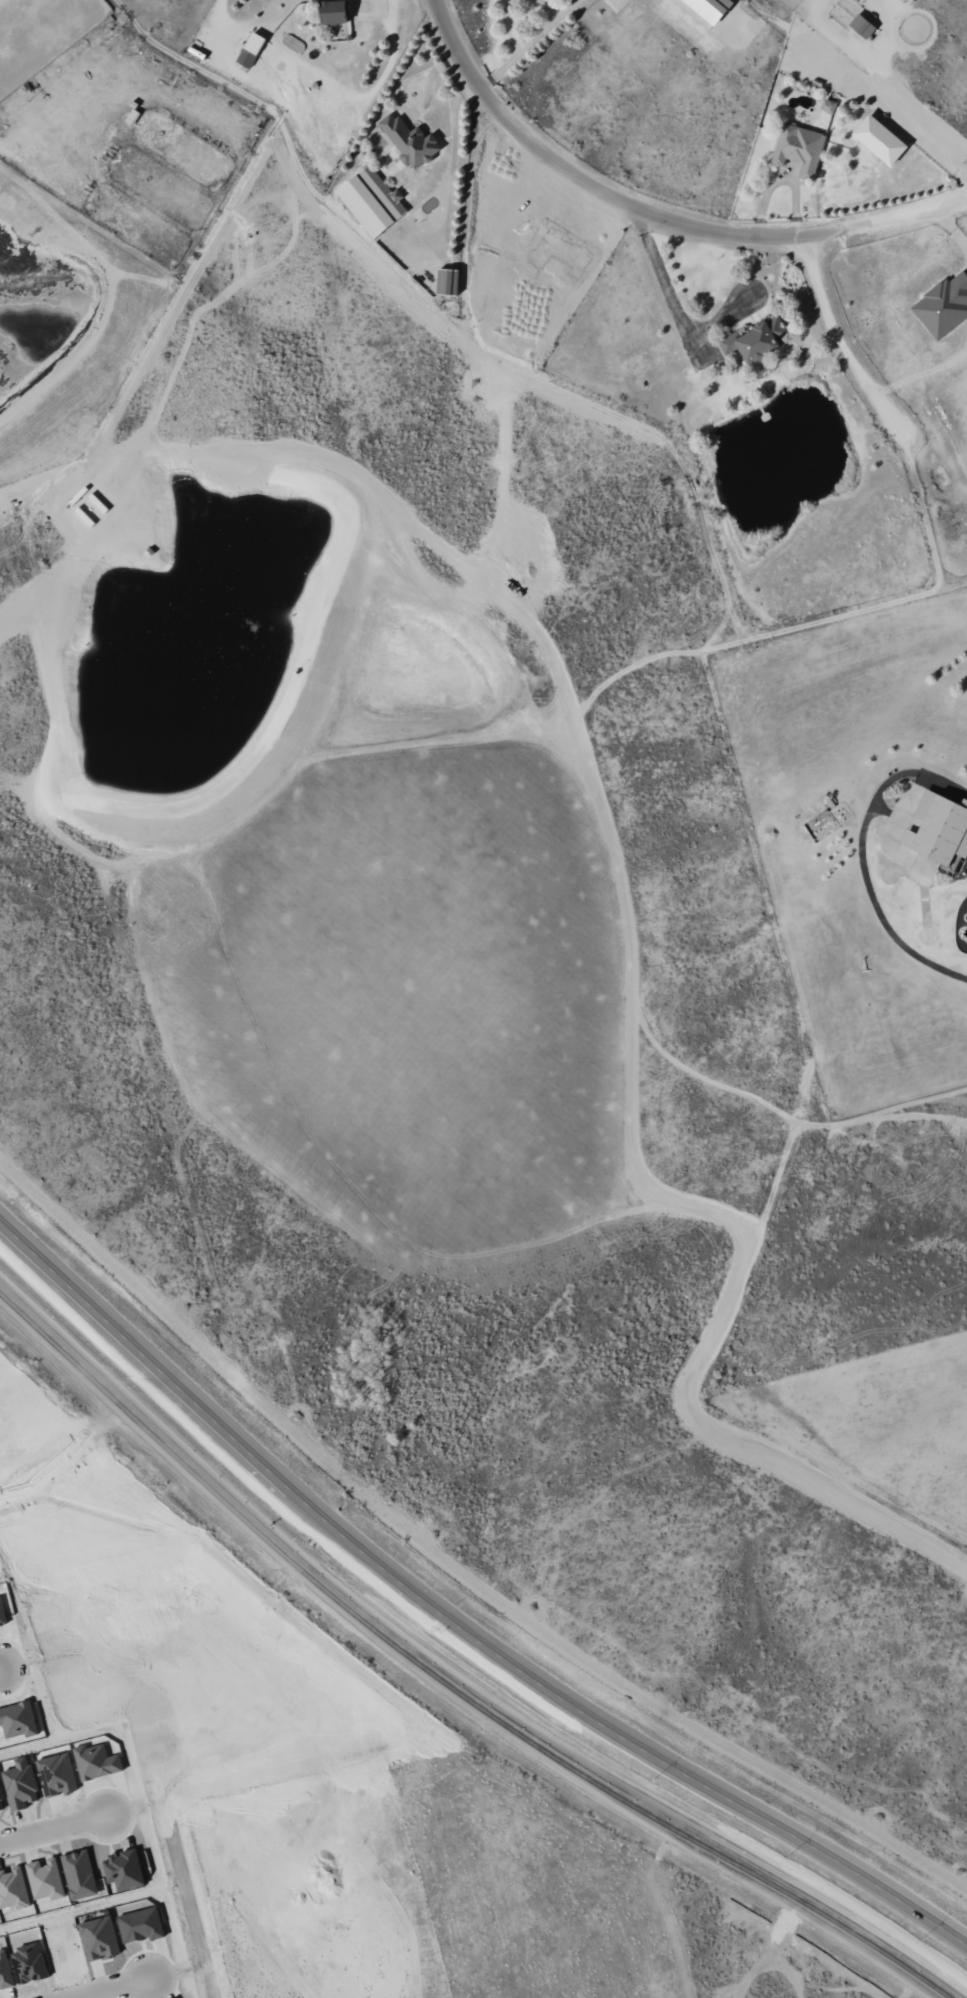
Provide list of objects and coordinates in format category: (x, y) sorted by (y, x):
building: (904, 0)
building: (706, 10)
building: (334, 12)
building: (861, 27)
road: (532, 44)
building: (251, 49)
road: (863, 84)
building: (828, 105)
building: (880, 139)
building: (409, 140)
building: (799, 148)
building: (371, 201)
road: (657, 213)
road: (661, 273)
building: (447, 281)
building: (943, 306)
building: (755, 340)
road: (848, 351)
building: (939, 828)
road: (861, 858)
road: (67, 1455)
road: (2, 1486)
building: (2, 1615)
road: (453, 1623)
road: (450, 1674)
building: (17, 1720)
building: (96, 1762)
building: (57, 1775)
building: (20, 1784)
building: (1, 1803)
road: (52, 1830)
building: (124, 1870)
building: (79, 1875)
building: (45, 1880)
building: (12, 1889)
building: (140, 1926)
building: (99, 1939)
building: (29, 1963)
building: (5, 1972)
road: (110, 1988)

